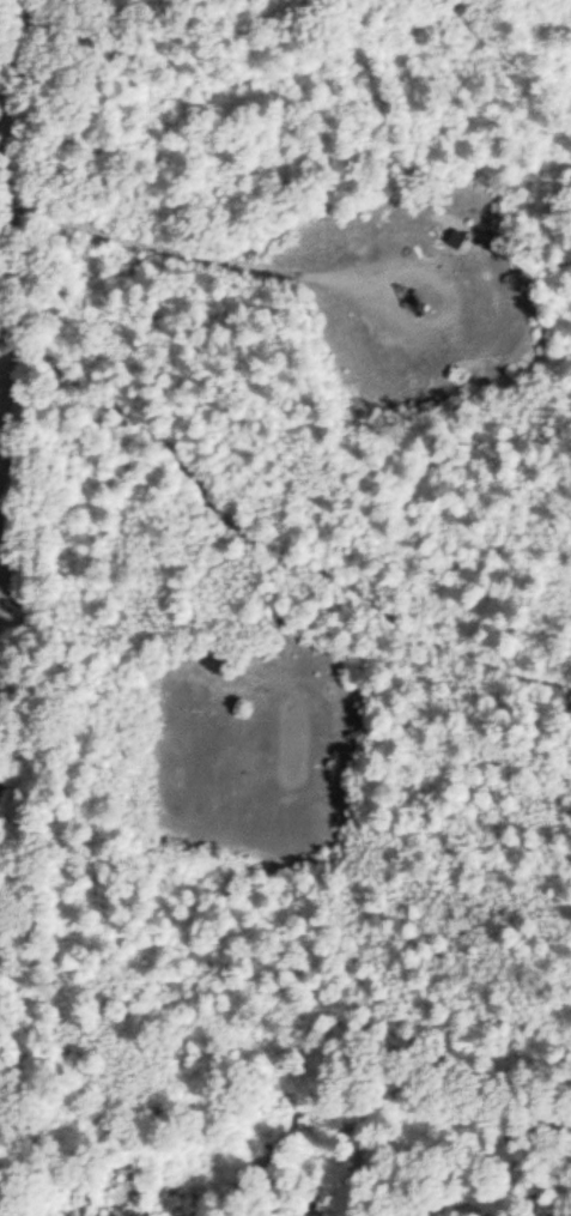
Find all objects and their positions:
road: (16, 212)
road: (186, 250)
petroleum well: (413, 297)

